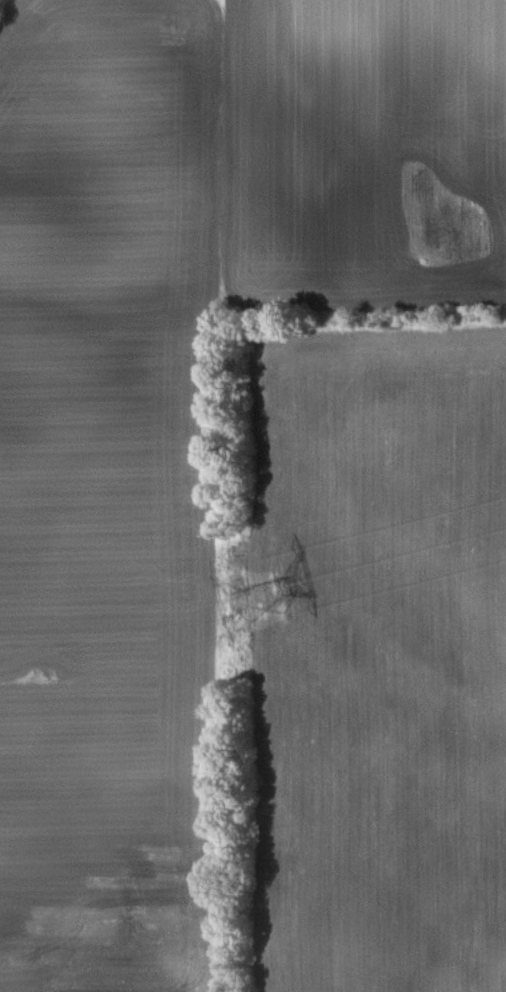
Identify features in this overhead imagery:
power tower: (272, 572)

